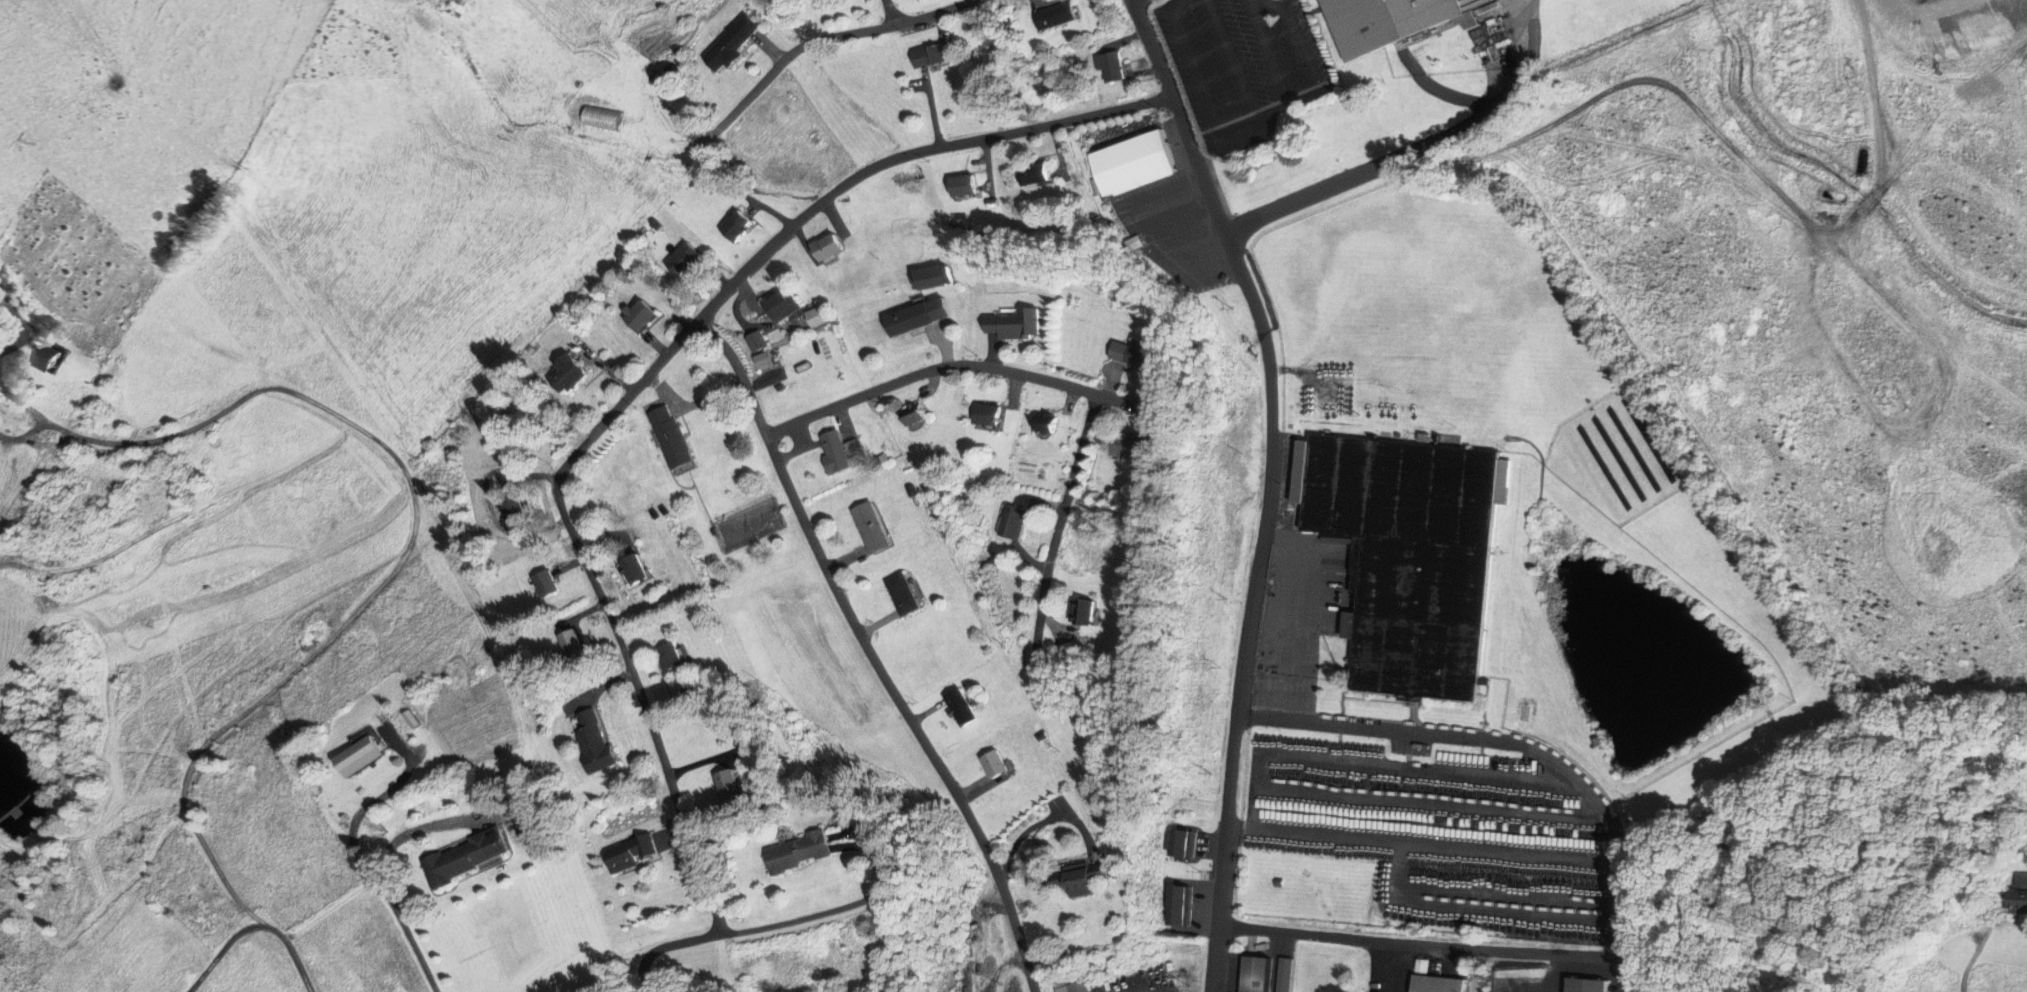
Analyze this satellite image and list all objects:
building: (450, 4)
road: (890, 12)
building: (1053, 14)
building: (1383, 21)
building: (729, 43)
road: (1268, 49)
building: (927, 54)
building: (1110, 65)
road: (1276, 113)
road: (1489, 118)
road: (719, 127)
road: (1234, 133)
road: (907, 153)
building: (1129, 163)
building: (1031, 173)
building: (961, 185)
building: (732, 225)
building: (823, 247)
building: (681, 259)
building: (927, 277)
building: (775, 304)
building: (637, 315)
building: (914, 315)
building: (1011, 323)
building: (755, 340)
building: (1130, 354)
building: (45, 357)
road: (951, 364)
building: (563, 373)
building: (986, 414)
building: (912, 415)
building: (1043, 426)
building: (668, 436)
building: (1125, 442)
building: (834, 451)
road: (398, 455)
road: (1268, 483)
building: (510, 505)
road: (184, 514)
road: (1061, 516)
building: (1012, 522)
building: (868, 527)
building: (1406, 557)
building: (634, 569)
building: (543, 583)
building: (899, 593)
building: (1079, 611)
building: (571, 644)
road: (868, 654)
road: (626, 656)
building: (670, 656)
building: (959, 706)
building: (592, 740)
road: (1529, 741)
building: (357, 756)
building: (994, 763)
building: (725, 783)
road: (388, 792)
building: (523, 820)
road: (417, 828)
road: (351, 843)
building: (1182, 843)
building: (796, 852)
building: (629, 853)
building: (460, 857)
building: (2022, 876)
road: (224, 878)
building: (1074, 878)
building: (2018, 900)
building: (1179, 905)
road: (808, 913)
road: (102, 928)
road: (1409, 946)
road: (219, 957)
building: (1255, 974)
building: (1284, 975)
building: (1435, 984)
building: (1071, 986)

